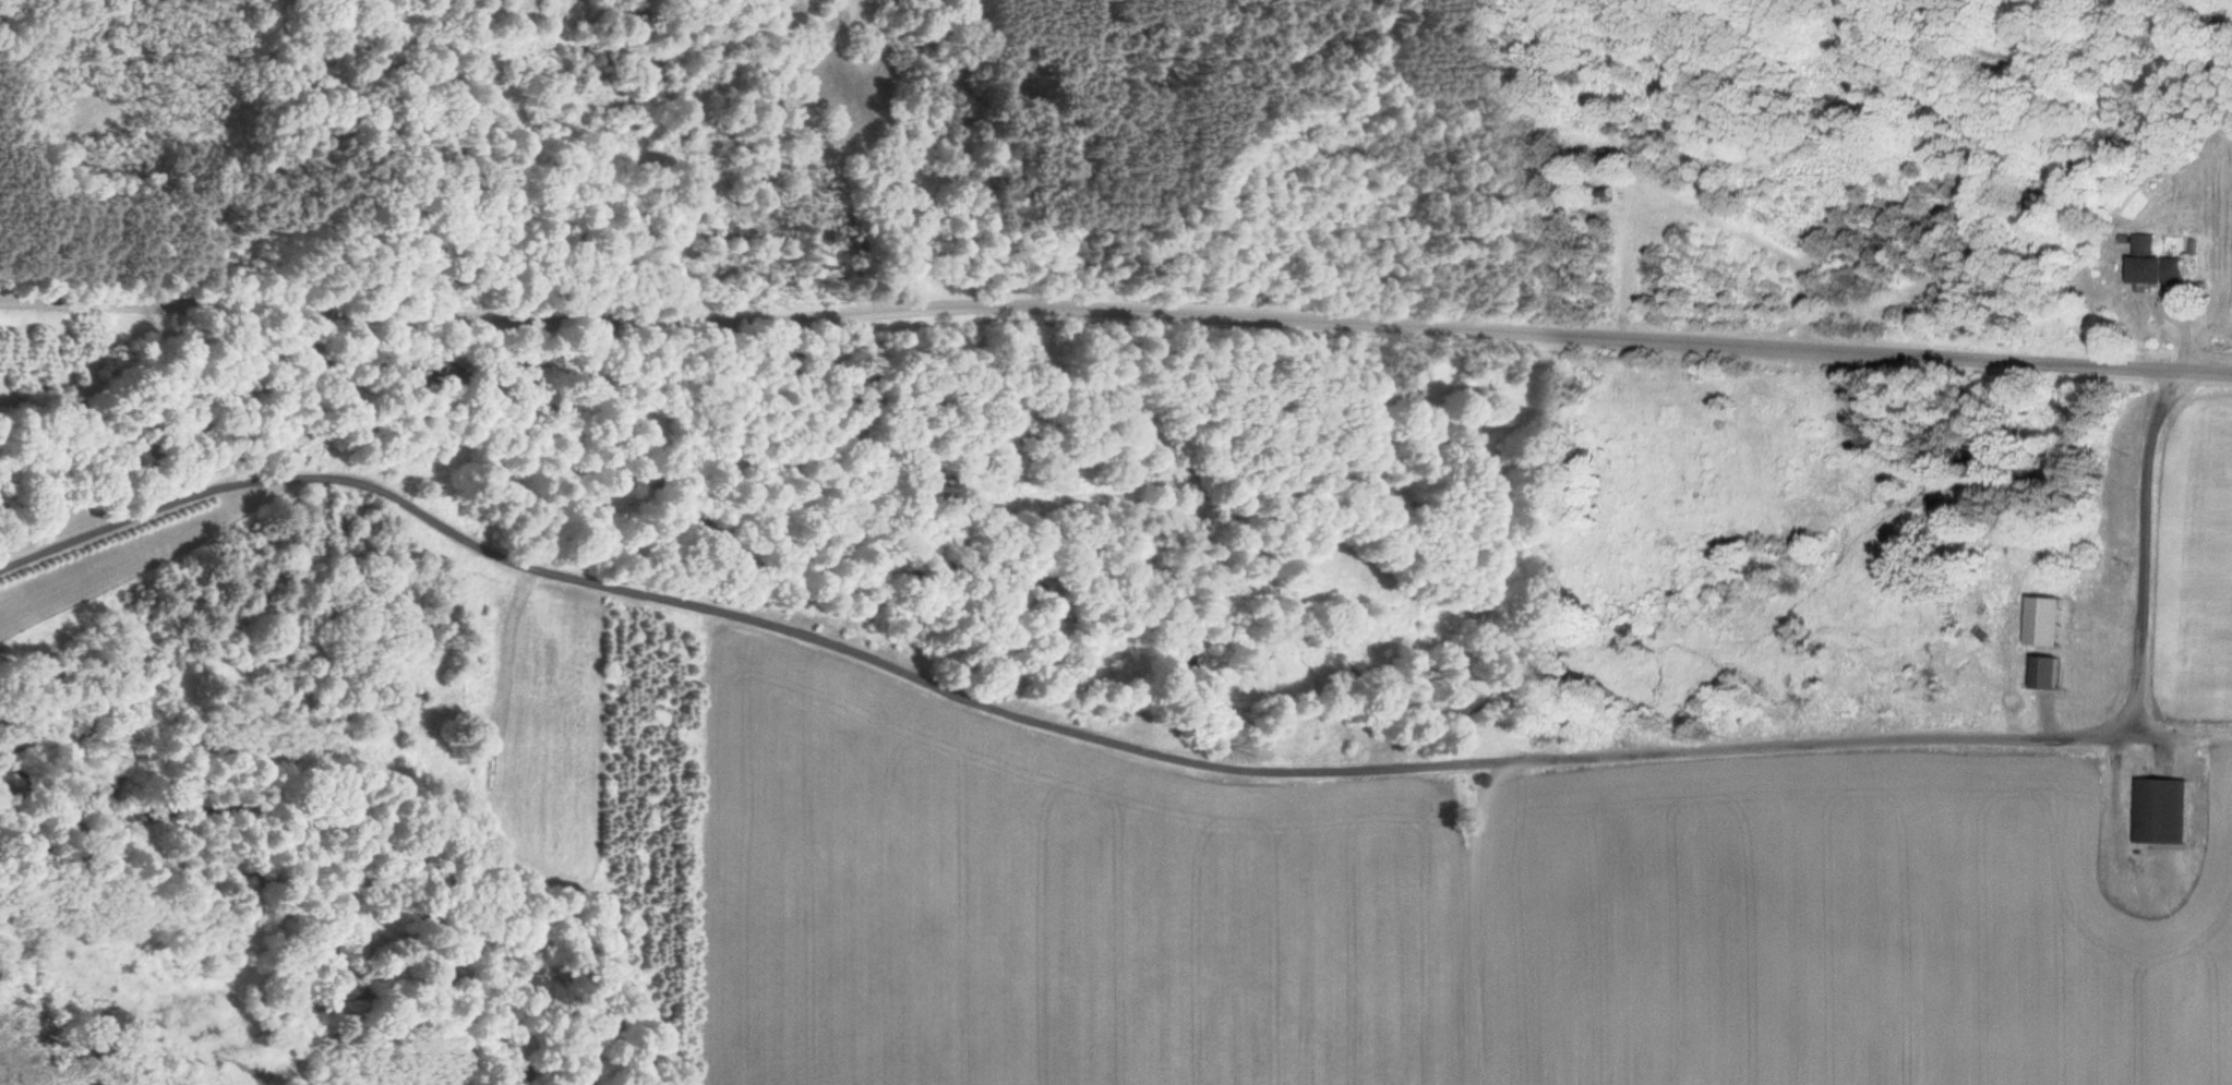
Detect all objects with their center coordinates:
building: (2155, 264)
road: (1116, 306)
building: (2097, 602)
building: (2043, 674)
building: (2158, 810)

